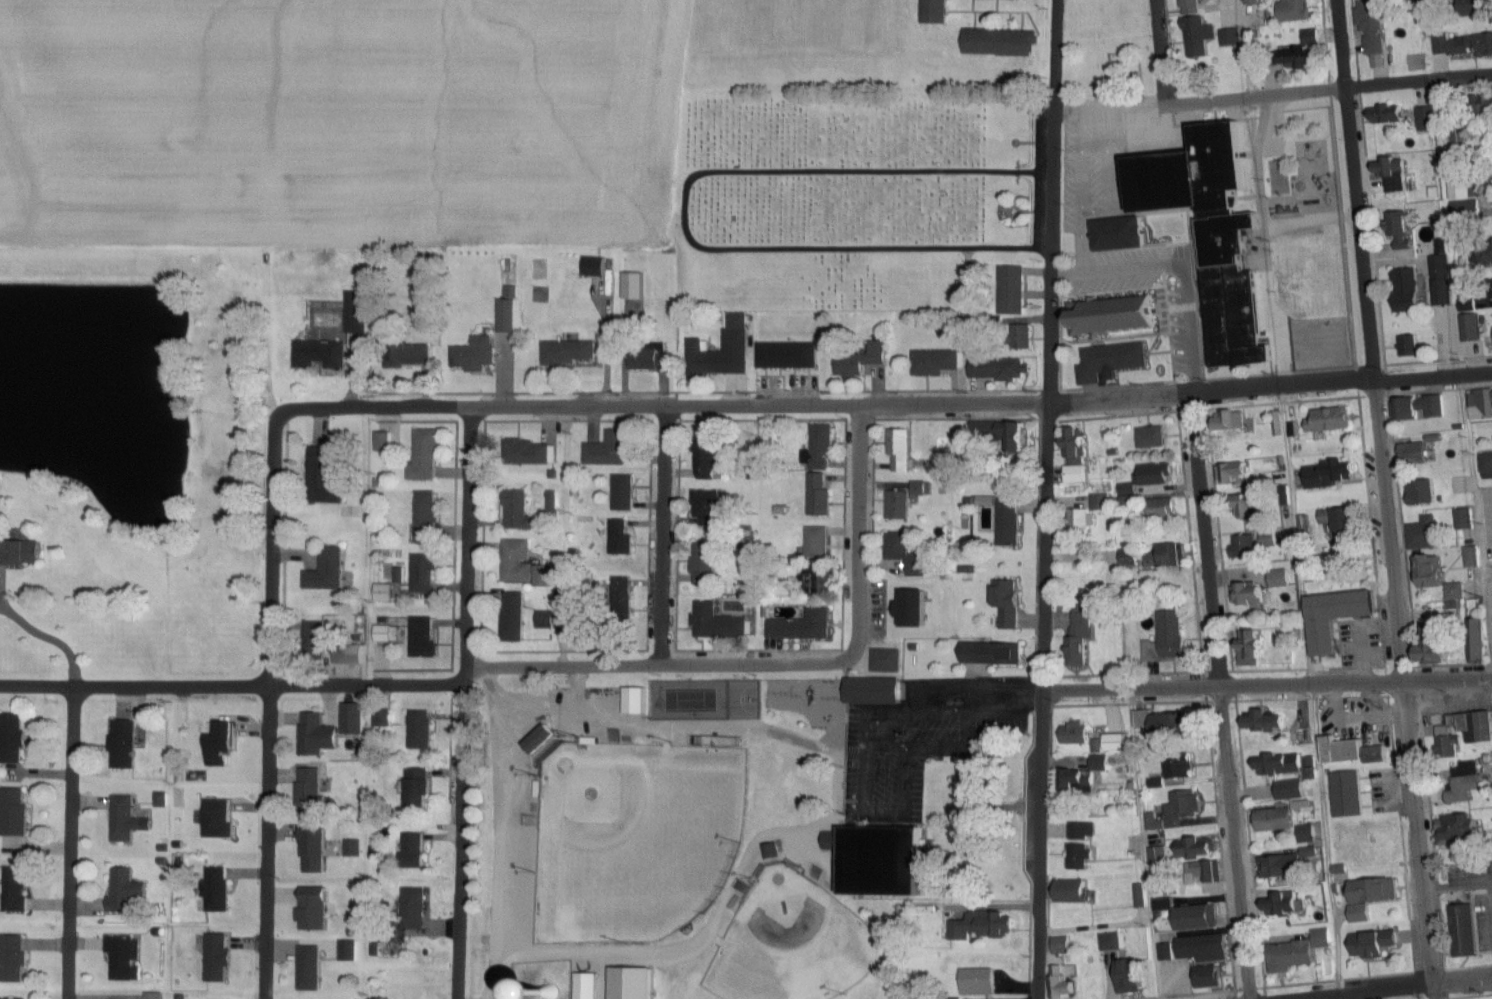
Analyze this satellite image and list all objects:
building: (1256, 2)
building: (1192, 8)
building: (1295, 11)
building: (938, 12)
building: (1085, 16)
building: (1370, 29)
building: (1202, 31)
building: (1313, 38)
building: (1001, 43)
building: (1442, 45)
road: (1245, 47)
building: (1473, 47)
building: (1303, 59)
road: (1330, 87)
road: (1164, 105)
building: (1385, 116)
building: (1419, 119)
building: (1460, 131)
road: (1105, 173)
building: (1396, 176)
building: (1465, 187)
road: (1079, 194)
road: (1308, 221)
building: (1395, 229)
building: (1216, 232)
road: (1260, 240)
building: (1485, 254)
building: (595, 268)
road: (1067, 276)
road: (1182, 280)
building: (635, 287)
building: (968, 289)
building: (1490, 290)
building: (1466, 306)
building: (509, 312)
building: (360, 313)
building: (1119, 316)
building: (740, 323)
building: (1021, 338)
road: (1370, 340)
road: (1053, 342)
building: (1407, 345)
building: (571, 353)
building: (476, 354)
building: (321, 355)
building: (789, 355)
building: (415, 356)
road: (271, 358)
building: (708, 359)
building: (653, 360)
building: (861, 361)
building: (1114, 362)
building: (938, 363)
building: (1003, 369)
road: (1342, 381)
building: (1479, 405)
road: (737, 407)
building: (1418, 408)
building: (1324, 420)
building: (1237, 421)
building: (1275, 425)
building: (994, 436)
building: (1154, 438)
building: (611, 449)
building: (821, 450)
building: (902, 452)
building: (534, 454)
building: (1411, 454)
building: (426, 455)
building: (1075, 456)
building: (708, 459)
building: (1485, 467)
building: (1234, 471)
building: (1340, 471)
building: (327, 478)
building: (1132, 491)
building: (624, 493)
building: (1418, 493)
building: (821, 496)
building: (907, 500)
building: (552, 505)
building: (1251, 505)
building: (708, 509)
building: (519, 511)
building: (427, 517)
building: (1462, 520)
building: (1011, 521)
building: (1342, 525)
building: (1427, 533)
road: (667, 537)
road: (1207, 537)
building: (622, 538)
building: (1271, 539)
building: (817, 543)
road: (472, 544)
building: (1242, 547)
road: (860, 550)
road: (275, 553)
building: (22, 554)
building: (909, 555)
building: (1167, 556)
building: (1131, 558)
building: (706, 563)
building: (517, 564)
road: (1484, 566)
building: (328, 571)
building: (426, 574)
building: (545, 576)
building: (1440, 578)
building: (819, 585)
building: (1264, 588)
building: (385, 593)
building: (1009, 603)
building: (921, 610)
building: (1341, 617)
building: (515, 618)
building: (547, 620)
building: (801, 624)
building: (718, 625)
building: (1083, 631)
building: (385, 634)
building: (426, 637)
road: (43, 638)
building: (1168, 639)
building: (1442, 645)
building: (1478, 650)
building: (1000, 654)
building: (1253, 654)
building: (346, 655)
building: (889, 661)
road: (1267, 682)
road: (413, 687)
building: (878, 692)
park: (748, 698)
park: (694, 699)
building: (636, 701)
building: (355, 718)
building: (1144, 720)
building: (1266, 721)
building: (1173, 725)
building: (1467, 728)
building: (422, 730)
building: (319, 735)
building: (1080, 736)
building: (14, 739)
building: (543, 739)
building: (225, 743)
building: (1116, 743)
building: (126, 745)
building: (1351, 751)
building: (1102, 764)
building: (1282, 764)
building: (1182, 766)
building: (1464, 781)
building: (1087, 783)
building: (421, 786)
building: (1291, 790)
building: (312, 791)
building: (1348, 792)
building: (1186, 806)
building: (17, 812)
building: (221, 818)
building: (1280, 820)
building: (128, 821)
building: (1463, 829)
building: (1084, 831)
building: (1385, 834)
building: (1311, 836)
road: (462, 838)
park: (635, 838)
road: (1419, 839)
road: (1038, 841)
road: (1237, 841)
road: (72, 843)
road: (269, 844)
building: (1198, 848)
building: (315, 850)
building: (417, 850)
building: (1083, 857)
building: (885, 860)
building: (1289, 864)
building: (1205, 874)
building: (1172, 887)
building: (17, 889)
building: (219, 889)
building: (126, 890)
building: (1077, 892)
building: (1139, 897)
building: (1368, 898)
building: (1166, 905)
building: (1288, 905)
building: (416, 906)
building: (316, 908)
building: (1201, 918)
building: (988, 924)
building: (1466, 931)
building: (1115, 942)
park: (792, 944)
building: (1372, 945)
building: (1063, 946)
building: (1208, 949)
building: (1302, 952)
building: (221, 957)
building: (127, 958)
building: (15, 959)
building: (312, 968)
building: (1134, 976)
building: (1211, 977)
building: (980, 982)
building: (1064, 983)
building: (588, 986)
road: (1386, 987)
water tower: (549, 995)
building: (156, 996)

